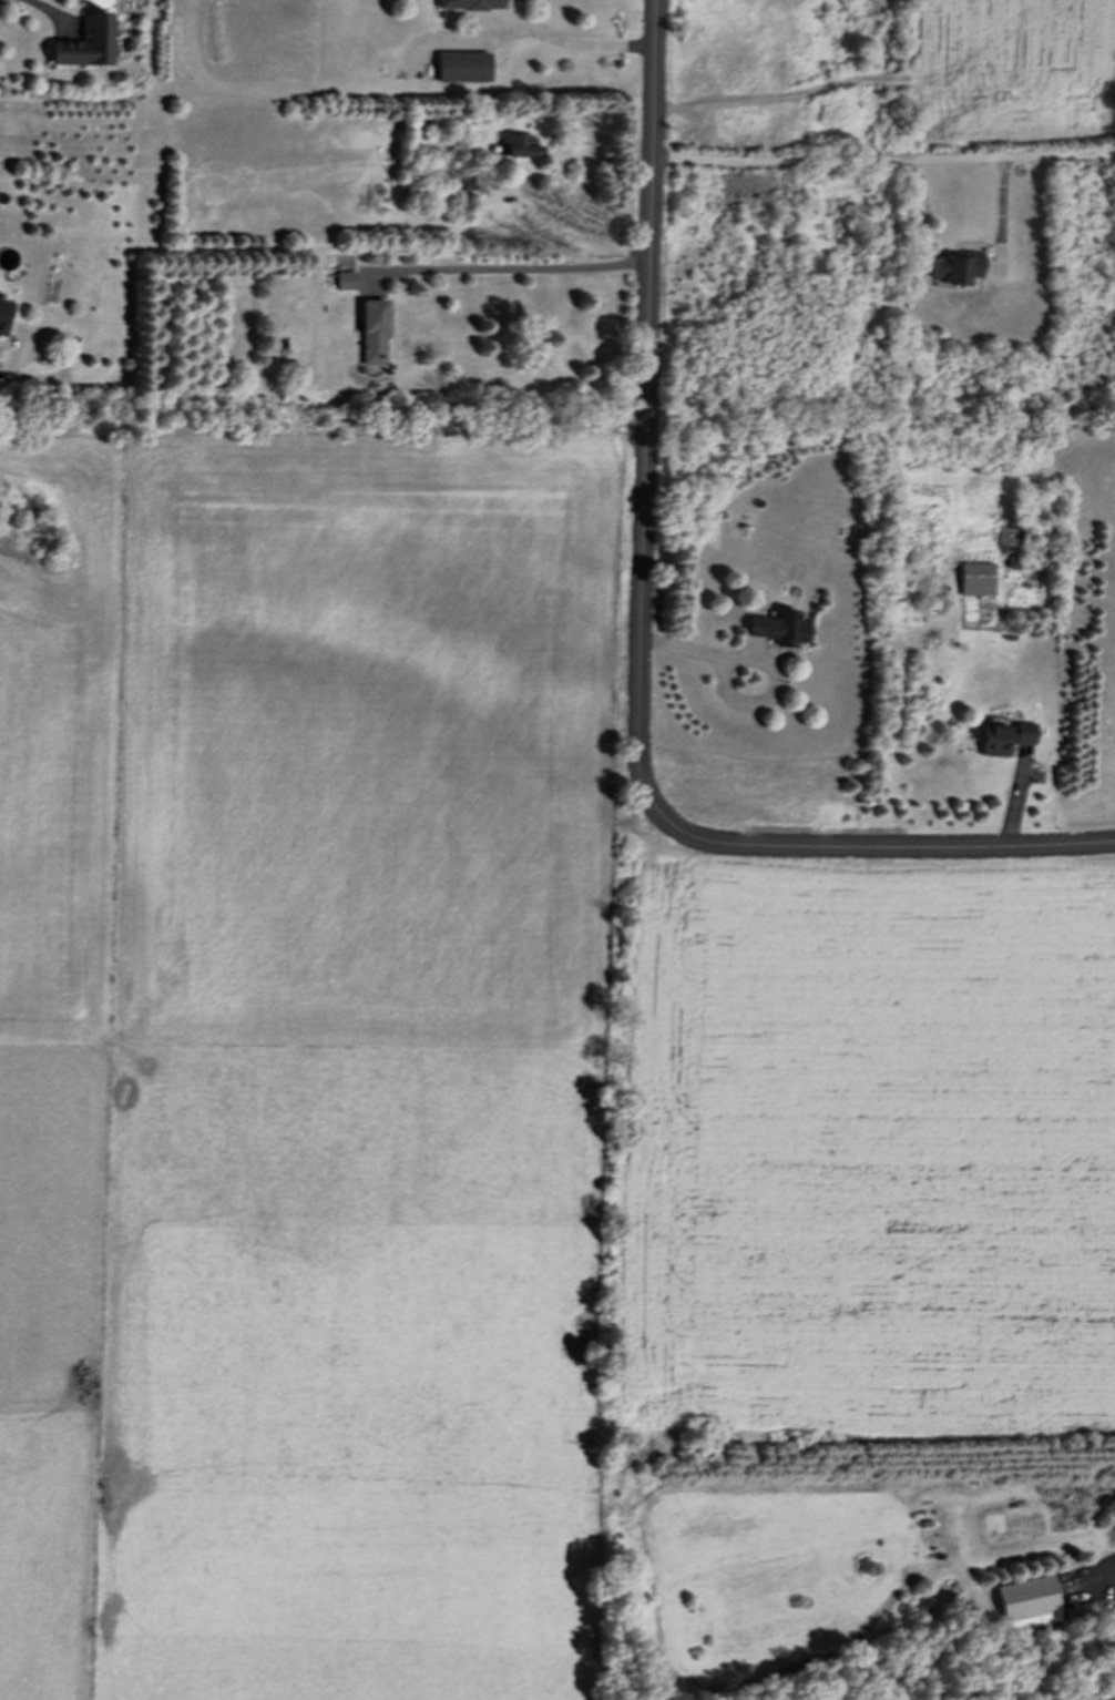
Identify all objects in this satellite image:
building: (470, 4)
road: (44, 8)
building: (88, 38)
road: (571, 42)
building: (462, 67)
crop: (1013, 72)
building: (518, 145)
road: (884, 161)
road: (573, 235)
road: (518, 267)
building: (954, 267)
building: (346, 282)
building: (4, 316)
building: (375, 329)
road: (12, 363)
building: (975, 579)
building: (778, 628)
road: (640, 642)
road: (764, 663)
building: (1003, 737)
crop: (308, 1060)
crop: (863, 1153)
building: (1029, 1602)

